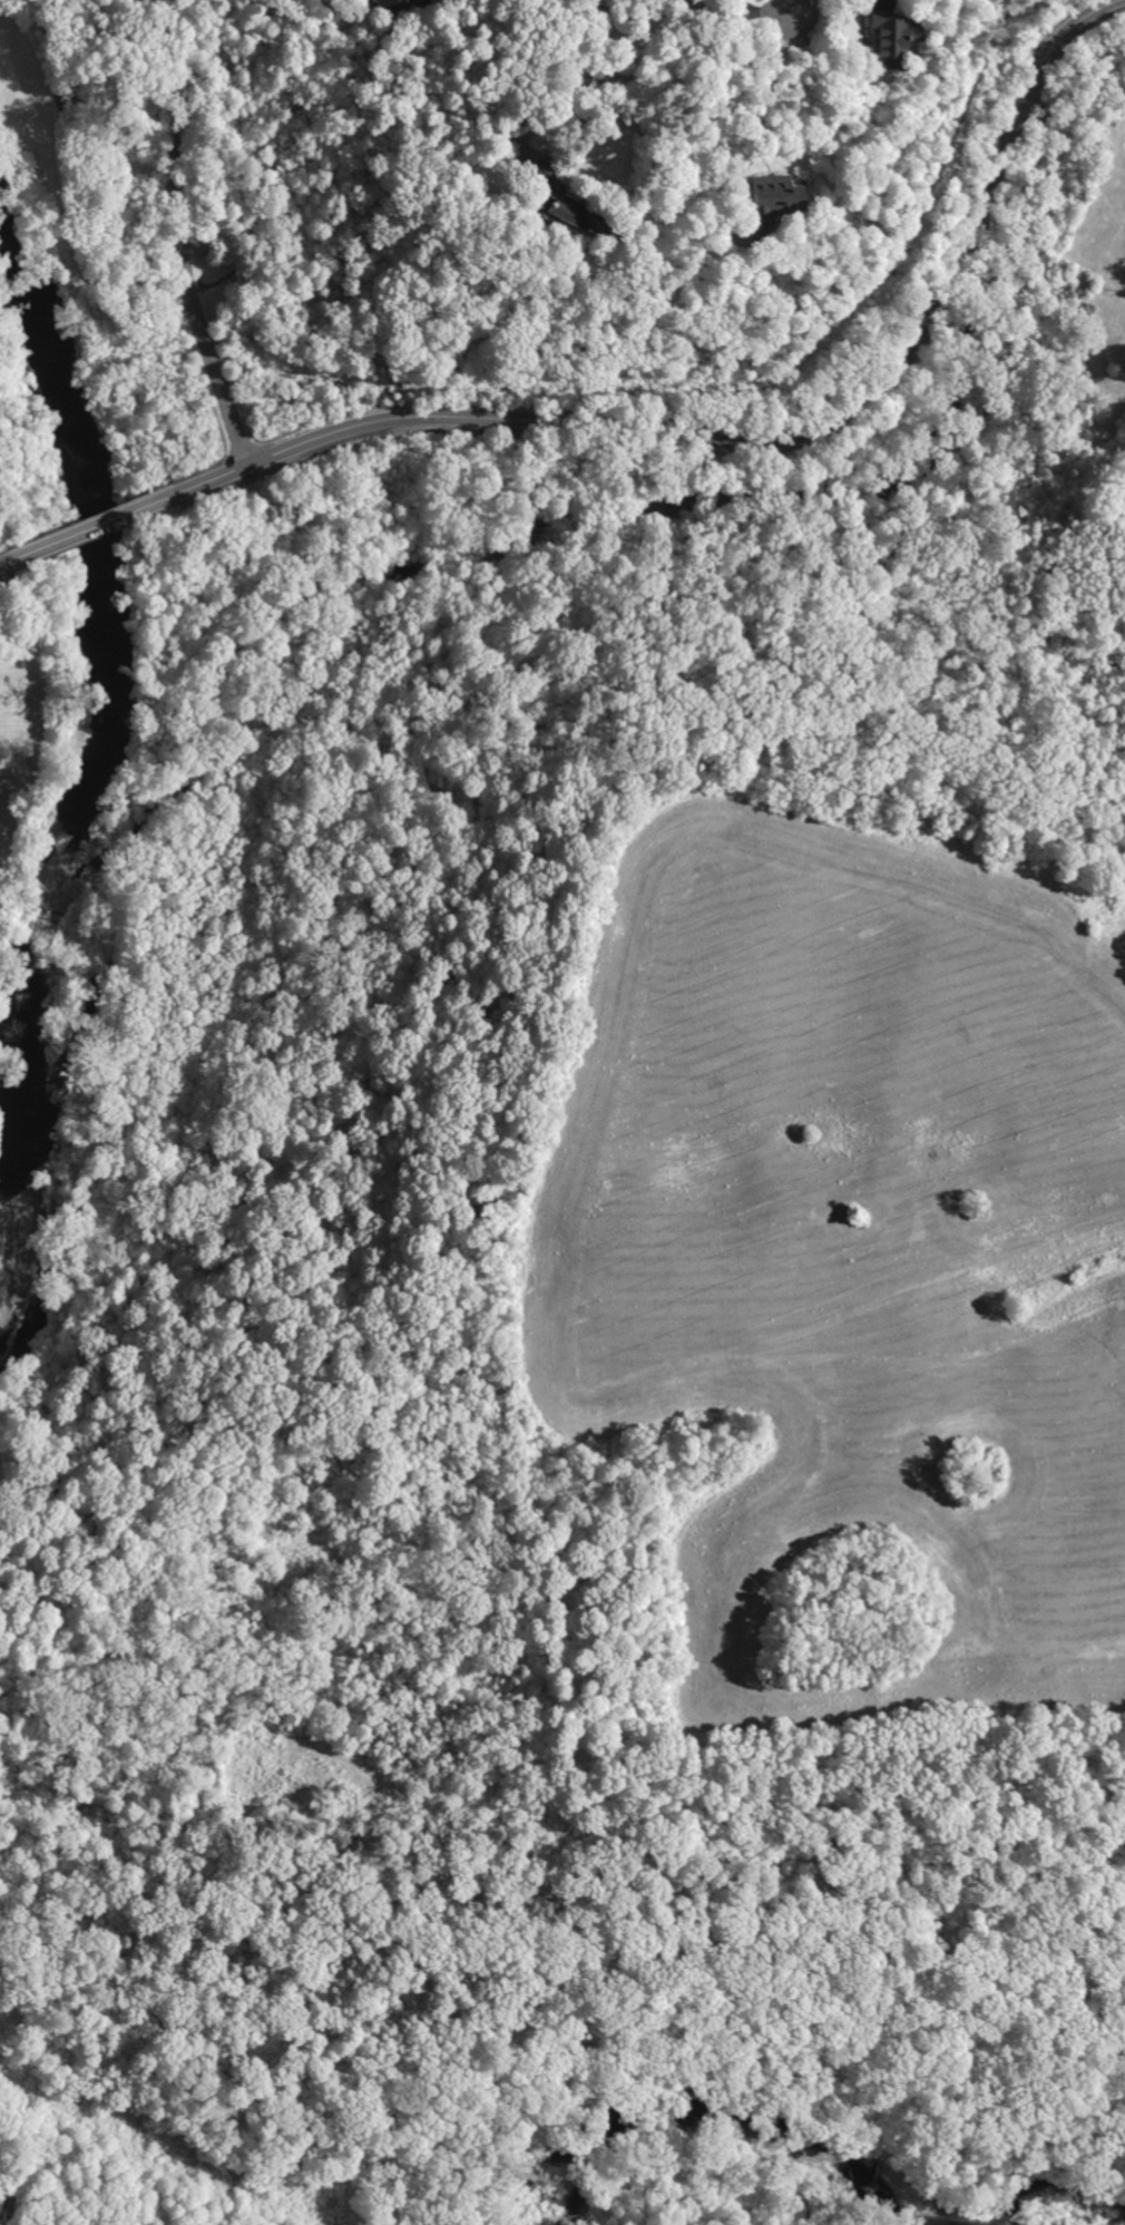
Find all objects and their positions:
building: (389, 3)
road: (791, 3)
building: (887, 37)
road: (658, 74)
road: (755, 113)
building: (539, 197)
building: (766, 198)
road: (182, 236)
road: (759, 443)
road: (94, 526)
road: (7, 560)
river: (88, 784)

